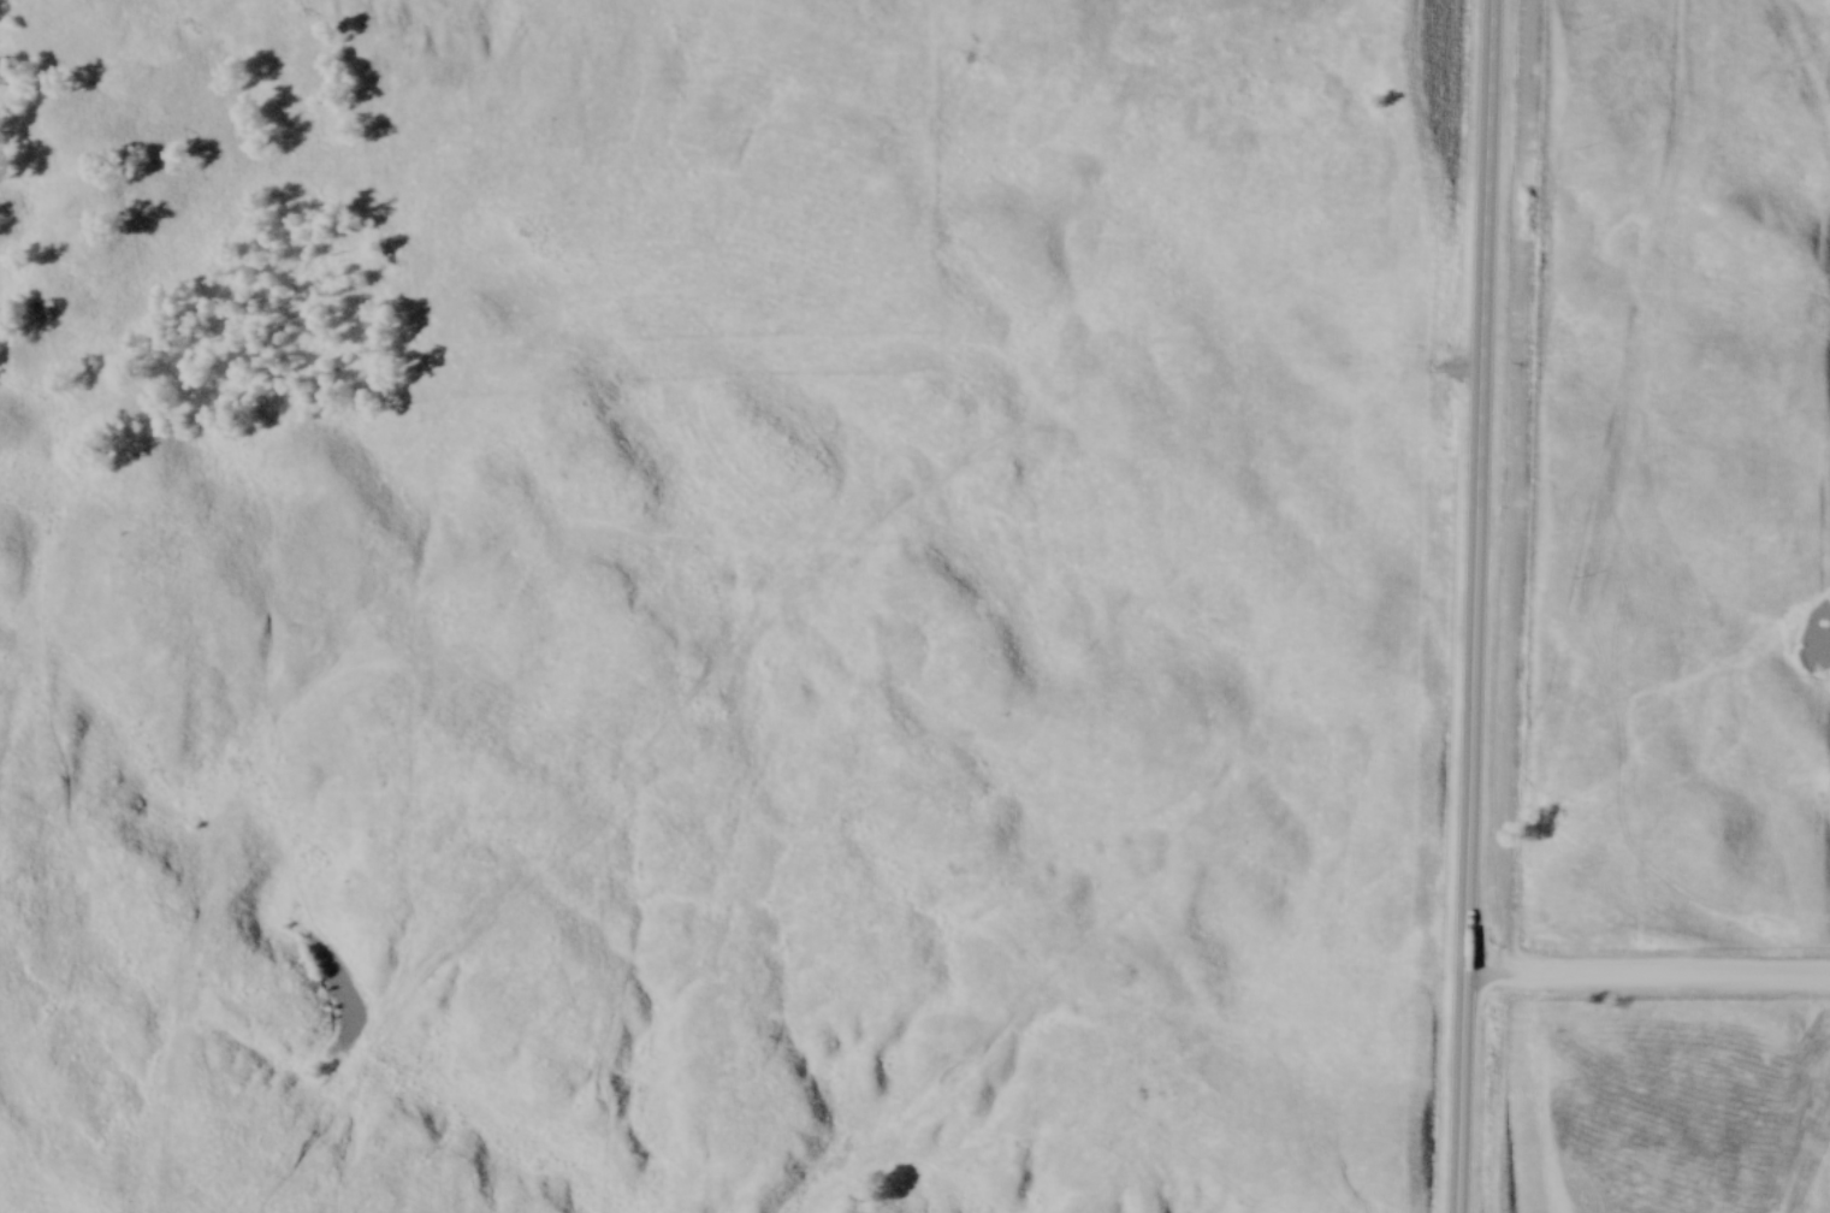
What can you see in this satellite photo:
road: (1477, 605)
road: (1648, 976)

